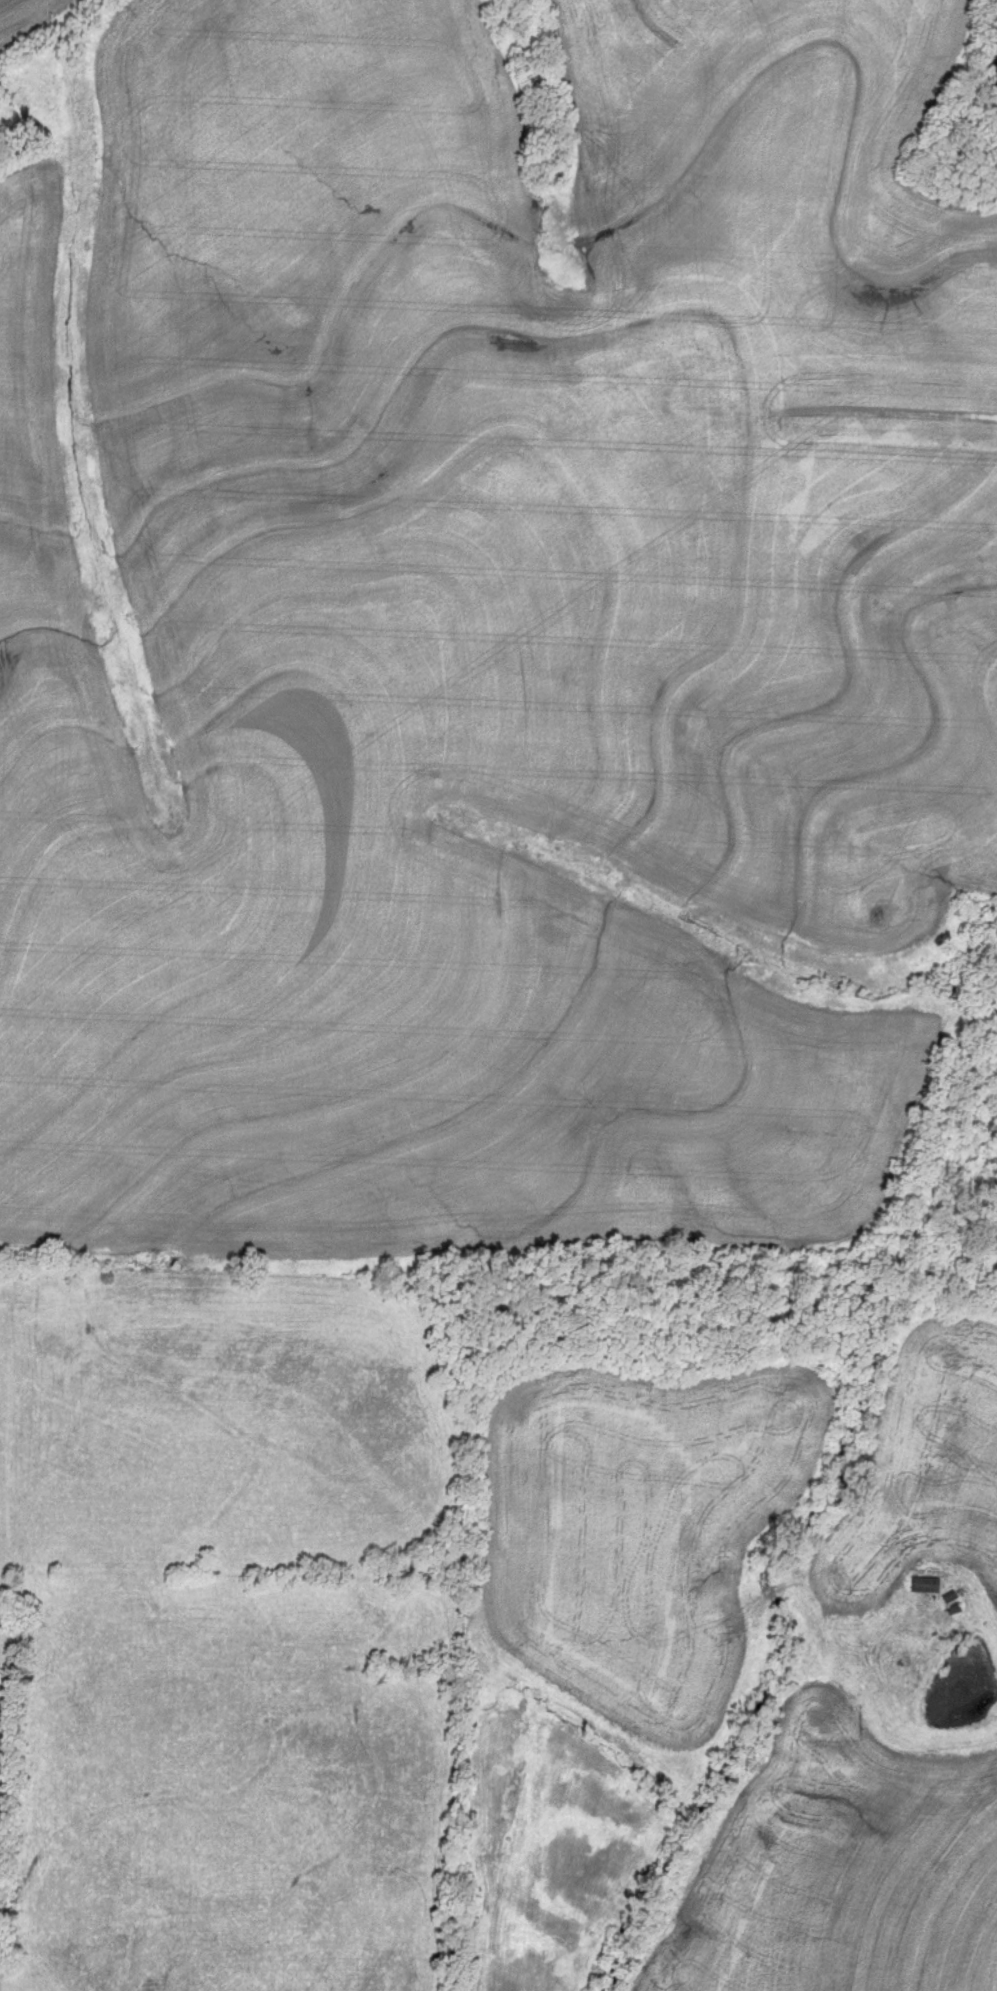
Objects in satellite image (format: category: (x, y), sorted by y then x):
road: (876, 413)
building: (926, 1583)
building: (950, 1600)

